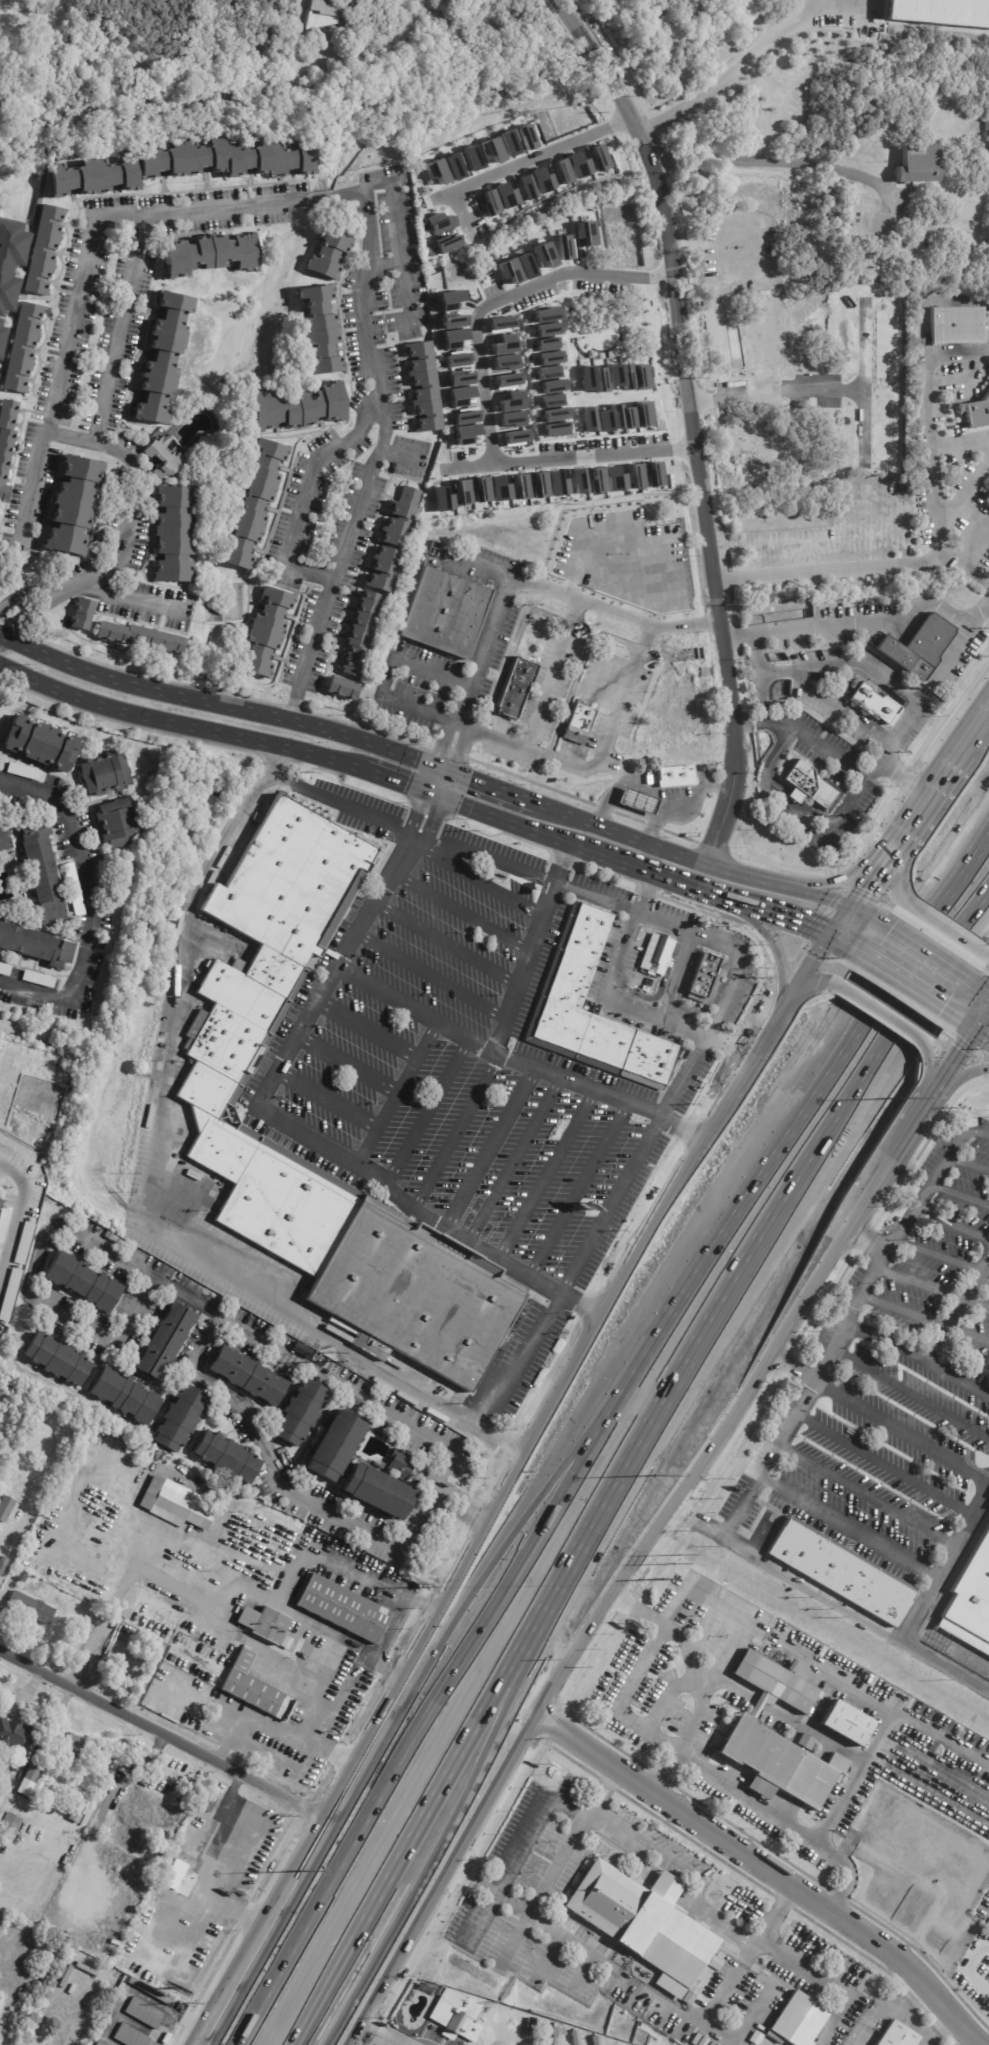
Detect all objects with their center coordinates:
building: (939, 12)
building: (324, 14)
road: (733, 69)
building: (914, 133)
building: (527, 137)
building: (509, 143)
building: (492, 150)
building: (224, 157)
building: (472, 158)
building: (599, 158)
road: (777, 159)
road: (519, 162)
building: (911, 162)
building: (454, 167)
building: (572, 168)
building: (437, 171)
building: (93, 177)
building: (535, 184)
building: (506, 196)
building: (490, 203)
road: (367, 220)
building: (439, 223)
road: (398, 241)
building: (447, 243)
building: (42, 248)
building: (208, 251)
building: (327, 254)
building: (7, 256)
road: (385, 264)
building: (546, 321)
building: (500, 323)
building: (955, 324)
building: (0, 325)
road: (123, 327)
building: (314, 330)
building: (1, 336)
building: (545, 344)
building: (21, 347)
building: (162, 358)
building: (548, 358)
building: (544, 372)
road: (792, 376)
building: (621, 377)
building: (586, 378)
road: (482, 386)
building: (549, 386)
building: (422, 387)
road: (928, 401)
building: (296, 407)
building: (977, 412)
building: (636, 415)
building: (551, 416)
building: (615, 416)
building: (589, 419)
building: (603, 419)
road: (692, 423)
building: (840, 440)
road: (959, 440)
building: (6, 443)
building: (161, 457)
road: (469, 465)
building: (655, 474)
building: (636, 476)
building: (614, 479)
building: (578, 480)
building: (598, 480)
building: (556, 484)
road: (33, 485)
building: (540, 485)
building: (521, 486)
road: (966, 486)
road: (132, 489)
building: (492, 489)
building: (463, 492)
road: (306, 496)
building: (442, 498)
building: (252, 503)
building: (69, 505)
road: (940, 530)
building: (172, 533)
road: (576, 535)
building: (391, 538)
road: (975, 545)
road: (963, 566)
road: (829, 568)
road: (61, 592)
road: (20, 599)
road: (131, 599)
road: (987, 602)
building: (444, 613)
road: (612, 613)
building: (81, 614)
road: (23, 617)
road: (851, 626)
building: (267, 631)
building: (359, 635)
building: (139, 637)
road: (1, 638)
building: (917, 647)
building: (655, 666)
road: (858, 666)
road: (460, 677)
road: (756, 677)
building: (341, 688)
building: (516, 688)
road: (823, 697)
road: (461, 700)
road: (220, 703)
road: (542, 703)
building: (872, 703)
road: (616, 718)
road: (459, 722)
building: (579, 722)
road: (179, 723)
building: (40, 742)
road: (439, 744)
road: (886, 748)
road: (459, 751)
building: (23, 771)
traffic signals: (441, 771)
road: (949, 771)
building: (100, 774)
building: (675, 777)
road: (398, 780)
road: (906, 780)
road: (437, 782)
building: (807, 785)
road: (488, 788)
road: (643, 789)
road: (700, 789)
traffic signals: (433, 793)
building: (635, 802)
road: (342, 804)
road: (792, 806)
building: (114, 824)
building: (3, 833)
road: (550, 835)
road: (661, 853)
road: (903, 855)
road: (485, 858)
road: (564, 863)
building: (41, 869)
road: (855, 872)
road: (878, 873)
road: (487, 885)
road: (642, 892)
road: (703, 893)
road: (86, 902)
road: (817, 909)
road: (463, 914)
traffic signals: (846, 919)
road: (852, 922)
road: (940, 923)
road: (784, 924)
road: (837, 930)
road: (712, 940)
traffic signals: (829, 941)
road: (448, 945)
road: (836, 945)
building: (33, 947)
road: (849, 953)
building: (657, 955)
building: (574, 962)
road: (951, 963)
road: (920, 964)
building: (4, 968)
road: (526, 968)
road: (778, 968)
building: (705, 974)
road: (433, 977)
road: (680, 977)
road: (809, 981)
road: (663, 986)
road: (910, 993)
road: (613, 1003)
road: (985, 1004)
road: (703, 1009)
road: (877, 1011)
road: (981, 1022)
road: (369, 1030)
road: (968, 1031)
traffic signals: (973, 1034)
road: (981, 1039)
road: (519, 1064)
road: (348, 1066)
road: (962, 1072)
road: (933, 1073)
road: (814, 1075)
road: (684, 1076)
building: (210, 1085)
road: (398, 1094)
road: (328, 1100)
road: (429, 1114)
road: (281, 1117)
road: (456, 1132)
road: (973, 1133)
road: (492, 1150)
road: (515, 1161)
road: (967, 1164)
road: (547, 1175)
road: (151, 1190)
road: (579, 1191)
road: (959, 1193)
building: (0, 1195)
road: (610, 1205)
road: (17, 1206)
road: (786, 1222)
road: (950, 1224)
road: (57, 1229)
building: (108, 1236)
road: (868, 1237)
building: (23, 1243)
road: (939, 1255)
building: (83, 1282)
road: (931, 1288)
building: (9, 1294)
road: (956, 1310)
road: (925, 1317)
road: (839, 1334)
building: (164, 1340)
power tower: (328, 1355)
building: (56, 1359)
road: (917, 1359)
road: (523, 1363)
road: (192, 1367)
road: (793, 1367)
building: (247, 1376)
road: (911, 1393)
building: (124, 1397)
road: (386, 1410)
building: (298, 1412)
building: (70, 1417)
building: (178, 1420)
road: (902, 1431)
building: (333, 1445)
building: (28, 1449)
building: (225, 1458)
building: (42, 1463)
building: (399, 1464)
road: (885, 1465)
building: (48, 1478)
road: (500, 1487)
building: (375, 1493)
road: (867, 1495)
building: (177, 1504)
building: (5, 1506)
building: (988, 1515)
road: (353, 1524)
road: (849, 1526)
building: (0, 1529)
road: (653, 1533)
building: (11, 1546)
road: (146, 1550)
building: (7, 1552)
power tower: (677, 1557)
building: (3, 1564)
building: (837, 1565)
road: (945, 1565)
road: (342, 1567)
power tower: (661, 1579)
power tower: (421, 1587)
road: (831, 1597)
road: (218, 1599)
building: (969, 1601)
building: (30, 1607)
building: (342, 1607)
road: (637, 1607)
road: (700, 1628)
building: (275, 1630)
road: (247, 1638)
road: (382, 1643)
road: (462, 1649)
road: (722, 1657)
building: (125, 1659)
road: (101, 1662)
road: (819, 1662)
road: (418, 1684)
road: (498, 1684)
road: (735, 1686)
building: (256, 1688)
road: (663, 1697)
road: (759, 1702)
road: (618, 1703)
building: (847, 1722)
road: (162, 1730)
road: (812, 1732)
road: (277, 1733)
building: (15, 1735)
road: (496, 1737)
building: (777, 1738)
building: (73, 1751)
road: (690, 1757)
road: (859, 1765)
building: (36, 1770)
building: (149, 1802)
building: (14, 1827)
building: (111, 1830)
road: (820, 1832)
building: (129, 1840)
building: (123, 1862)
road: (845, 1870)
road: (769, 1871)
road: (477, 1881)
building: (187, 1884)
road: (696, 1902)
building: (645, 1924)
road: (499, 1933)
road: (569, 1939)
building: (609, 1983)
building: (155, 1994)
road: (324, 1998)
road: (257, 2004)
power tower: (188, 2005)
building: (452, 2012)
building: (145, 2014)
building: (538, 2021)
building: (795, 2022)
building: (515, 2023)
building: (130, 2036)
road: (386, 2036)
building: (897, 2036)
building: (574, 2037)
building: (594, 2039)
building: (99, 2044)
building: (616, 2044)

